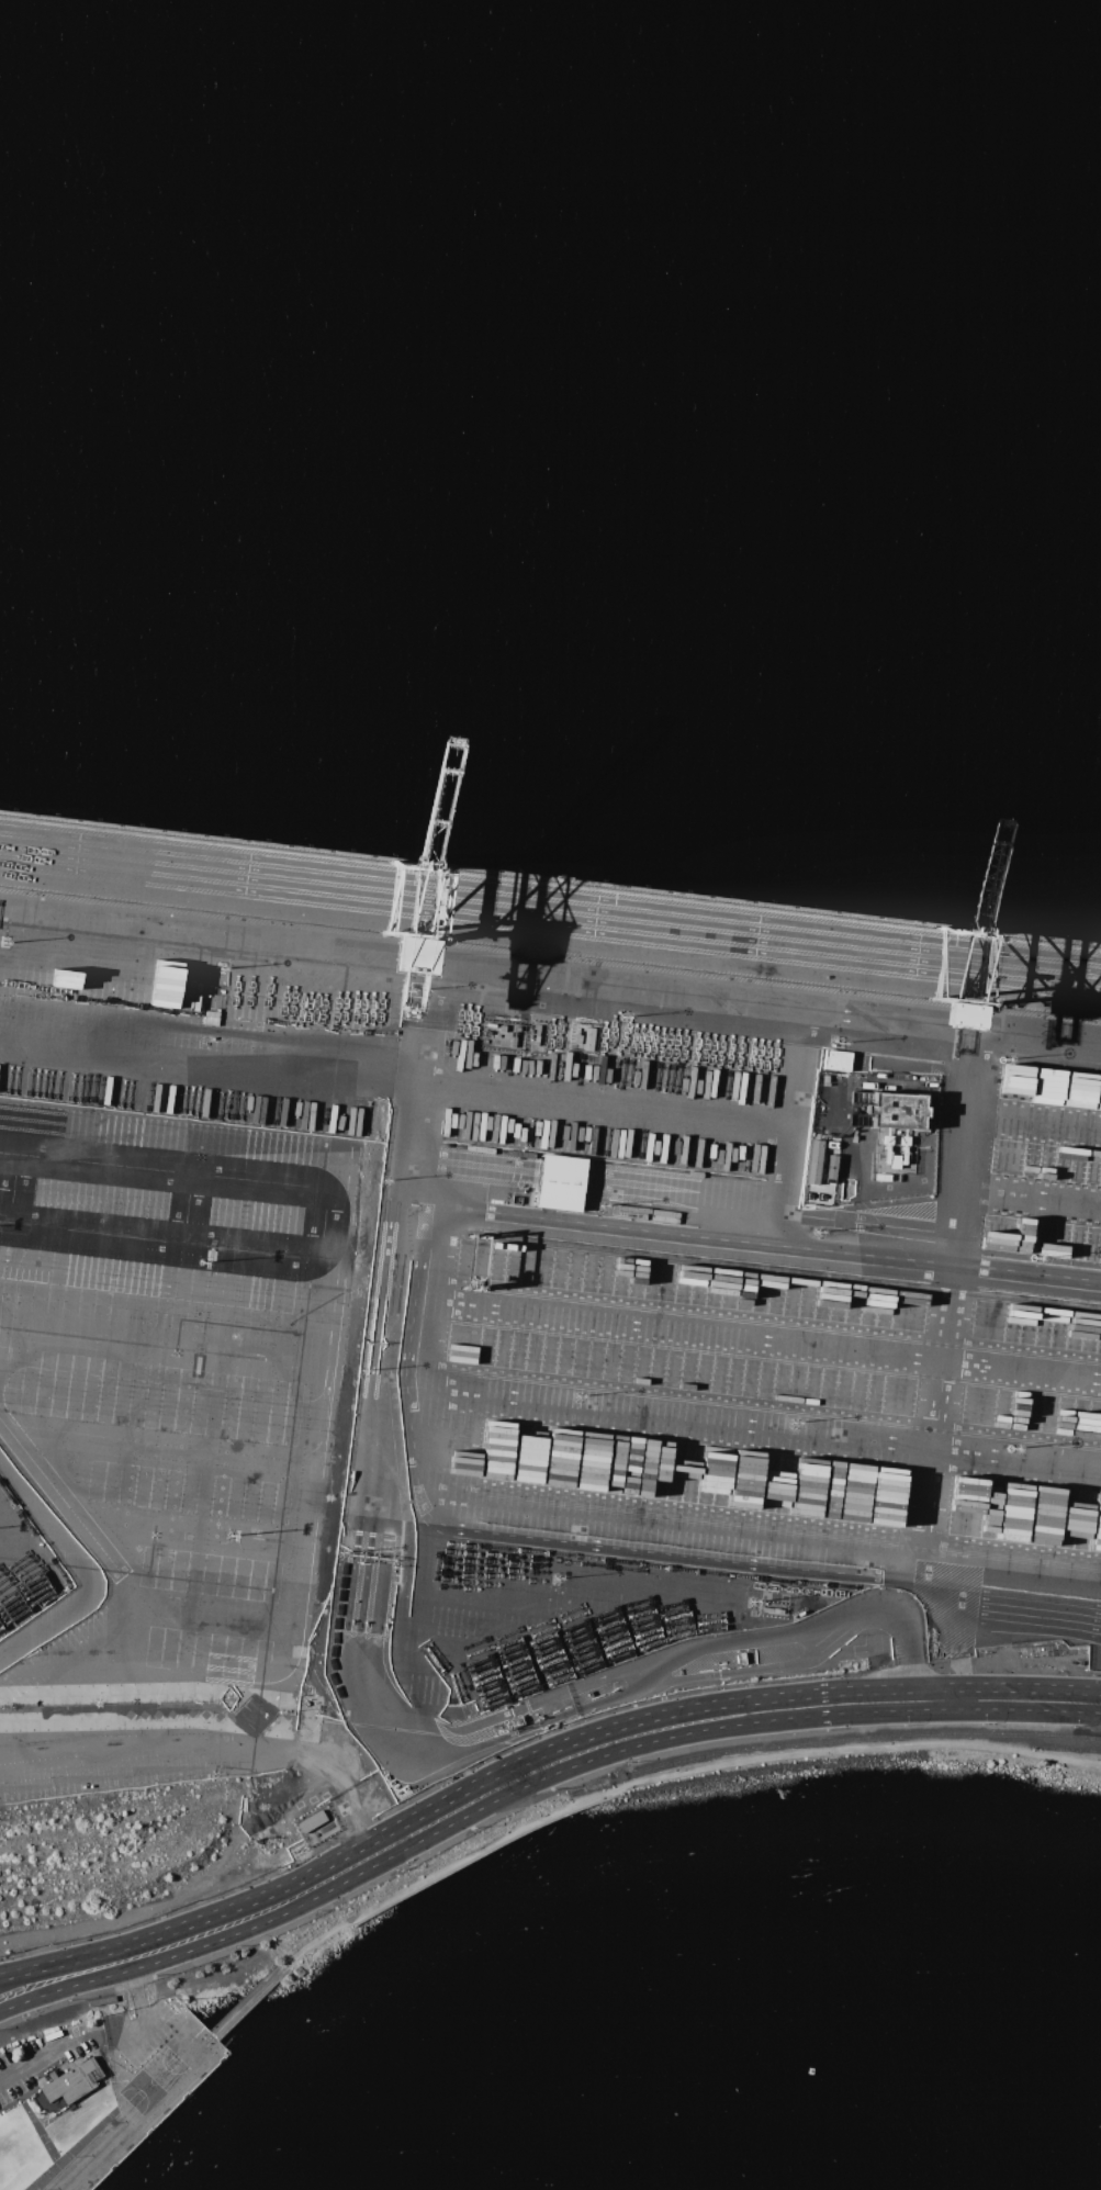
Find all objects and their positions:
building: (513, 965)
road: (549, 975)
building: (491, 1025)
building: (502, 1029)
building: (835, 1060)
road: (177, 1063)
road: (385, 1080)
road: (603, 1103)
building: (895, 1110)
road: (788, 1138)
road: (970, 1159)
road: (171, 1168)
road: (594, 1180)
building: (560, 1182)
road: (748, 1245)
road: (759, 1338)
road: (375, 1399)
road: (308, 1487)
road: (757, 1532)
road: (584, 1542)
road: (24, 1543)
building: (772, 1610)
road: (164, 1613)
road: (400, 1616)
building: (742, 1659)
road: (165, 1693)
road: (1007, 1702)
road: (850, 1716)
building: (514, 1722)
railway: (860, 1739)
road: (236, 1740)
road: (864, 1750)
railway: (1072, 1751)
road: (1100, 1764)
road: (447, 1804)
building: (312, 1821)
road: (487, 1850)
road: (391, 1855)
road: (315, 1943)
road: (269, 1944)
park: (272, 1964)
road: (247, 2002)
road: (126, 2028)
park: (172, 2036)
road: (113, 2044)
parking lot: (88, 2045)
building: (147, 2074)
building: (71, 2081)
road: (30, 2093)
road: (156, 2114)
road: (55, 2119)
road: (53, 2155)
road: (45, 2177)

